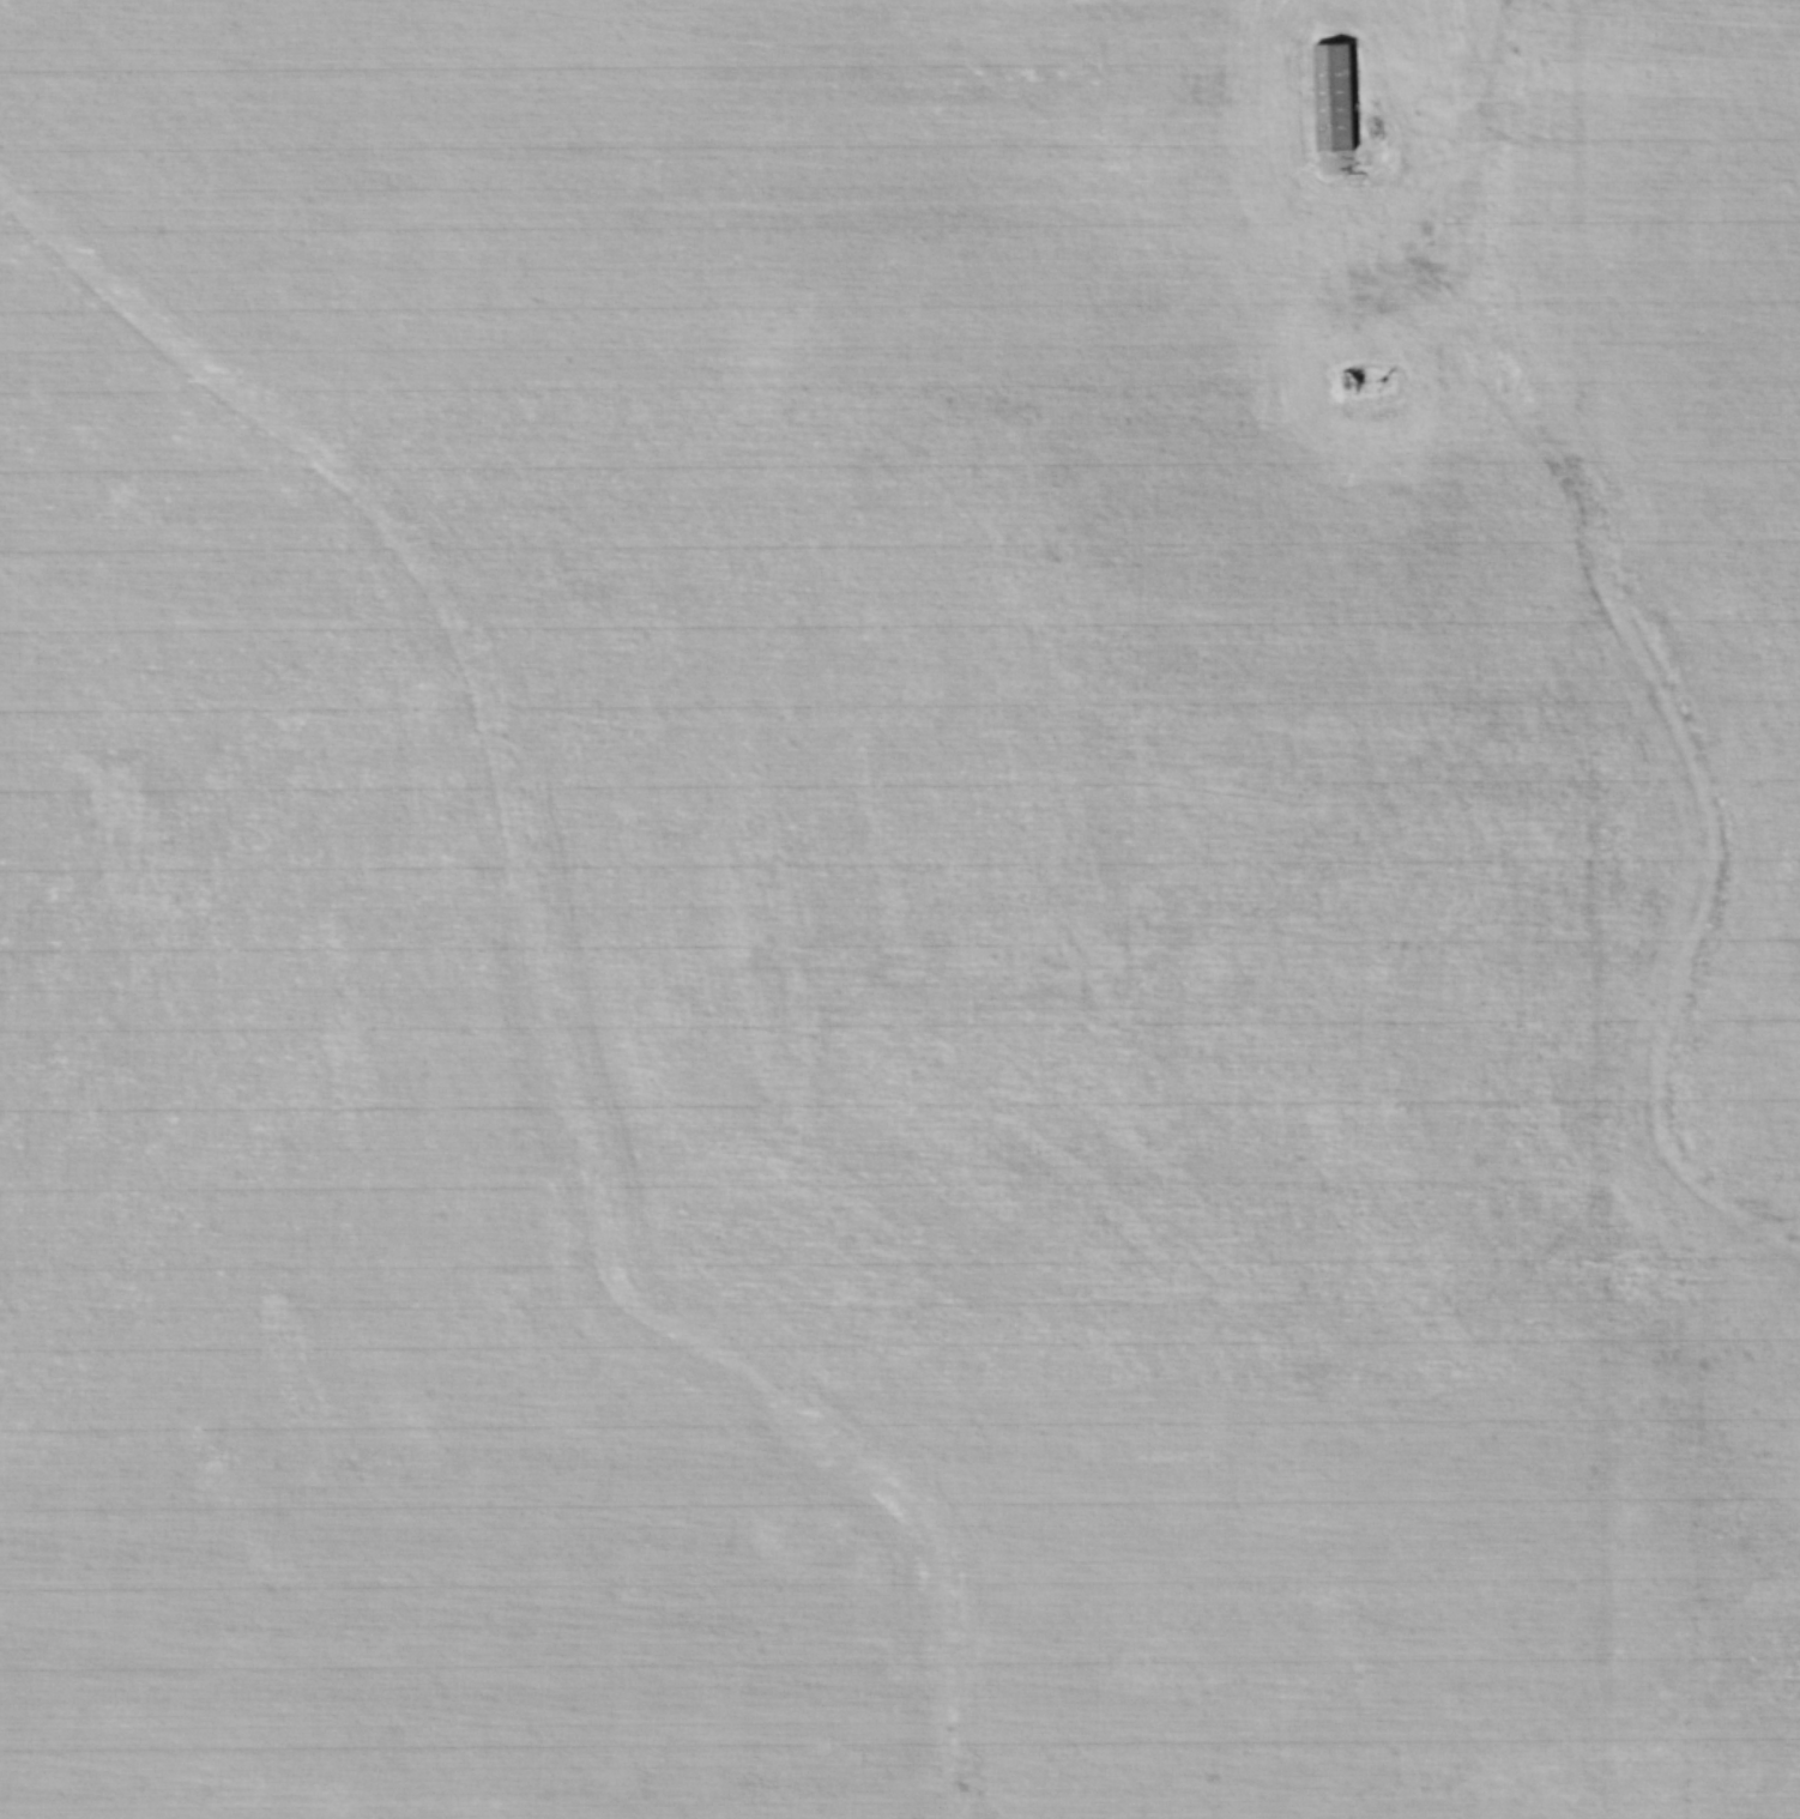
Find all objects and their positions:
building: (1329, 95)

